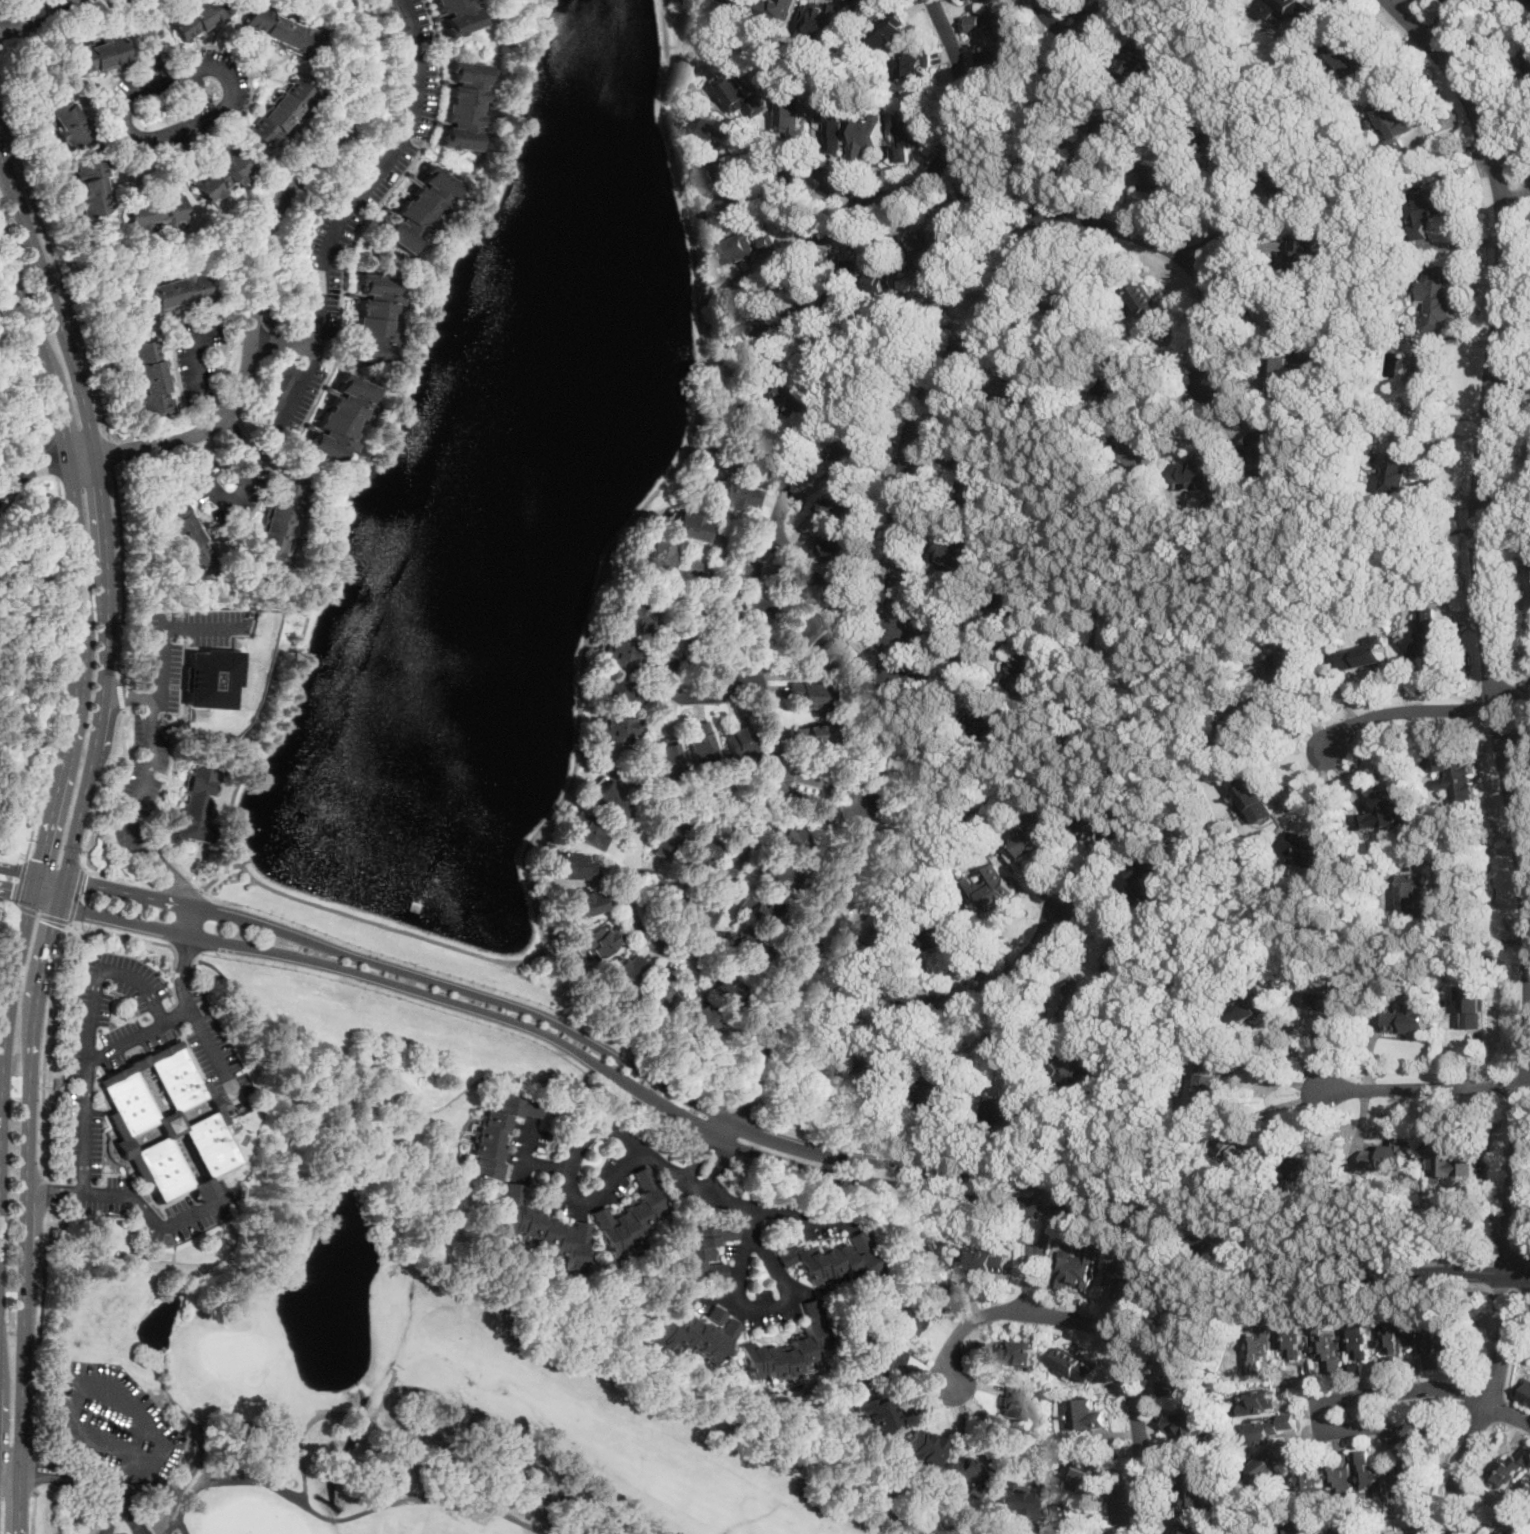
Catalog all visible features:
building: (1529, 0)
road: (1074, 1)
road: (1401, 3)
building: (867, 4)
building: (733, 7)
building: (1297, 8)
building: (778, 9)
road: (27, 11)
road: (1065, 14)
building: (457, 16)
building: (820, 17)
building: (197, 18)
building: (392, 18)
road: (1067, 19)
building: (993, 21)
road: (1441, 22)
building: (281, 29)
building: (889, 30)
road: (148, 41)
building: (99, 54)
building: (1145, 56)
building: (1350, 56)
building: (997, 57)
building: (1525, 57)
building: (914, 65)
building: (399, 92)
building: (740, 93)
building: (463, 107)
building: (284, 111)
building: (793, 112)
building: (63, 117)
building: (1393, 120)
building: (834, 121)
road: (189, 124)
road: (959, 126)
building: (717, 127)
road: (1509, 132)
building: (909, 133)
building: (867, 137)
building: (1103, 137)
building: (1226, 138)
road: (427, 147)
building: (371, 149)
road: (1423, 155)
building: (725, 169)
building: (1163, 176)
building: (221, 178)
building: (977, 183)
building: (1284, 183)
building: (91, 186)
road: (781, 201)
building: (1425, 207)
road: (352, 208)
building: (730, 208)
building: (419, 210)
building: (154, 213)
building: (953, 226)
road: (1241, 238)
building: (767, 239)
building: (737, 248)
building: (924, 251)
building: (1300, 251)
road: (1175, 252)
building: (884, 267)
road: (256, 272)
road: (56, 274)
road: (786, 276)
building: (845, 283)
building: (743, 289)
building: (169, 292)
building: (1436, 296)
building: (302, 302)
building: (1150, 302)
building: (806, 304)
building: (1064, 304)
building: (1286, 317)
building: (372, 319)
building: (750, 340)
road: (283, 342)
road: (27, 359)
building: (1114, 370)
building: (1423, 370)
road: (197, 372)
building: (1280, 375)
building: (150, 378)
building: (1021, 378)
road: (1509, 382)
building: (279, 390)
road: (906, 390)
building: (801, 400)
building: (339, 419)
building: (754, 421)
building: (1263, 441)
building: (853, 451)
road: (1338, 451)
road: (31, 452)
road: (109, 452)
building: (1526, 452)
building: (1140, 454)
road: (52, 458)
building: (748, 460)
building: (1397, 465)
building: (1198, 470)
road: (38, 471)
building: (1262, 472)
road: (247, 478)
building: (968, 480)
road: (4, 484)
building: (735, 496)
building: (843, 502)
building: (689, 526)
building: (276, 527)
road: (1504, 530)
building: (186, 531)
road: (1406, 541)
building: (840, 547)
building: (658, 555)
building: (956, 559)
building: (688, 566)
road: (123, 572)
road: (753, 572)
road: (897, 587)
building: (835, 589)
building: (1003, 600)
building: (723, 609)
building: (630, 615)
road: (1486, 622)
building: (799, 630)
building: (1425, 635)
road: (950, 644)
building: (666, 645)
building: (1364, 652)
building: (617, 653)
building: (825, 654)
building: (1288, 660)
building: (1022, 664)
road: (671, 666)
road: (63, 670)
road: (758, 677)
building: (210, 679)
road: (1511, 687)
building: (617, 692)
road: (129, 694)
road: (116, 695)
building: (808, 695)
road: (1402, 708)
road: (71, 712)
building: (986, 715)
building: (1239, 720)
building: (616, 729)
building: (811, 735)
road: (1515, 735)
building: (738, 742)
road: (1042, 743)
building: (701, 744)
building: (667, 759)
road: (1100, 765)
building: (925, 775)
building: (1454, 775)
road: (141, 781)
road: (100, 788)
road: (818, 792)
building: (1251, 796)
building: (612, 801)
road: (850, 802)
building: (194, 808)
building: (1384, 808)
road: (15, 827)
building: (1102, 830)
building: (587, 831)
building: (1036, 833)
building: (665, 835)
road: (72, 836)
building: (793, 842)
building: (1309, 848)
building: (697, 852)
road: (1459, 854)
traffic signals: (39, 860)
road: (1207, 865)
building: (571, 867)
road: (17, 872)
building: (779, 875)
road: (219, 876)
road: (49, 877)
road: (119, 877)
road: (173, 877)
traffic signals: (83, 881)
road: (20, 883)
building: (1143, 883)
building: (991, 886)
road: (178, 889)
traffic signals: (12, 890)
road: (15, 891)
road: (125, 891)
road: (75, 894)
building: (1412, 894)
road: (43, 899)
road: (7, 902)
building: (586, 904)
road: (628, 905)
building: (757, 910)
road: (41, 914)
traffic signals: (52, 925)
building: (877, 929)
building: (943, 932)
road: (1528, 933)
road: (6, 935)
road: (422, 938)
building: (598, 941)
road: (85, 947)
building: (741, 951)
building: (1118, 952)
road: (184, 956)
road: (59, 957)
road: (183, 958)
road: (780, 968)
building: (625, 970)
building: (691, 970)
building: (720, 988)
building: (655, 996)
road: (947, 998)
building: (1328, 998)
building: (1076, 999)
building: (1255, 1004)
building: (1473, 1005)
building: (699, 1019)
building: (1407, 1019)
road: (273, 1023)
road: (614, 1032)
road: (137, 1034)
road: (89, 1037)
road: (1136, 1039)
road: (1003, 1041)
road: (212, 1054)
building: (816, 1058)
building: (885, 1062)
building: (1072, 1069)
road: (1276, 1074)
road: (523, 1079)
building: (936, 1089)
building: (1207, 1089)
road: (1421, 1090)
road: (1525, 1090)
parking lot: (228, 1100)
building: (1006, 1104)
road: (692, 1117)
road: (304, 1122)
building: (164, 1123)
road: (335, 1128)
road: (607, 1131)
building: (494, 1134)
road: (702, 1144)
building: (1239, 1149)
building: (1385, 1155)
road: (840, 1156)
building: (1443, 1157)
road: (775, 1160)
building: (1309, 1167)
road: (276, 1191)
road: (42, 1192)
road: (602, 1195)
road: (134, 1201)
road: (48, 1208)
road: (776, 1212)
building: (633, 1215)
road: (1038, 1223)
building: (538, 1229)
road: (1115, 1229)
park: (112, 1234)
road: (172, 1252)
building: (699, 1254)
road: (146, 1257)
building: (936, 1257)
building: (832, 1262)
building: (991, 1262)
building: (1076, 1270)
road: (1031, 1279)
building: (1124, 1280)
building: (1143, 1290)
road: (777, 1307)
building: (912, 1316)
building: (1193, 1322)
road: (1098, 1326)
building: (696, 1334)
building: (1453, 1335)
building: (1287, 1336)
building: (1423, 1339)
building: (1389, 1344)
building: (1338, 1346)
building: (1256, 1348)
road: (35, 1349)
building: (787, 1350)
building: (1014, 1350)
building: (884, 1357)
building: (1077, 1363)
building: (1354, 1368)
building: (1178, 1376)
building: (1524, 1389)
road: (1350, 1396)
road: (119, 1400)
building: (1258, 1401)
building: (1010, 1404)
road: (1487, 1407)
park: (412, 1412)
building: (1086, 1414)
road: (1509, 1414)
building: (877, 1415)
building: (1187, 1425)
building: (1413, 1428)
building: (1266, 1429)
building: (923, 1446)
road: (10, 1456)
building: (1265, 1467)
building: (1507, 1468)
building: (1081, 1470)
building: (1406, 1470)
road: (35, 1472)
building: (964, 1473)
building: (1367, 1474)
road: (67, 1475)
road: (9, 1478)
building: (1308, 1480)
building: (1339, 1480)
building: (1198, 1486)
building: (1523, 1492)
road: (104, 1499)
building: (1012, 1502)
road: (32, 1512)
road: (130, 1517)
building: (1062, 1518)
building: (1188, 1527)
building: (1300, 1527)
building: (1348, 1529)
building: (1509, 1532)
building: (1260, 1533)
building: (1411, 1533)

